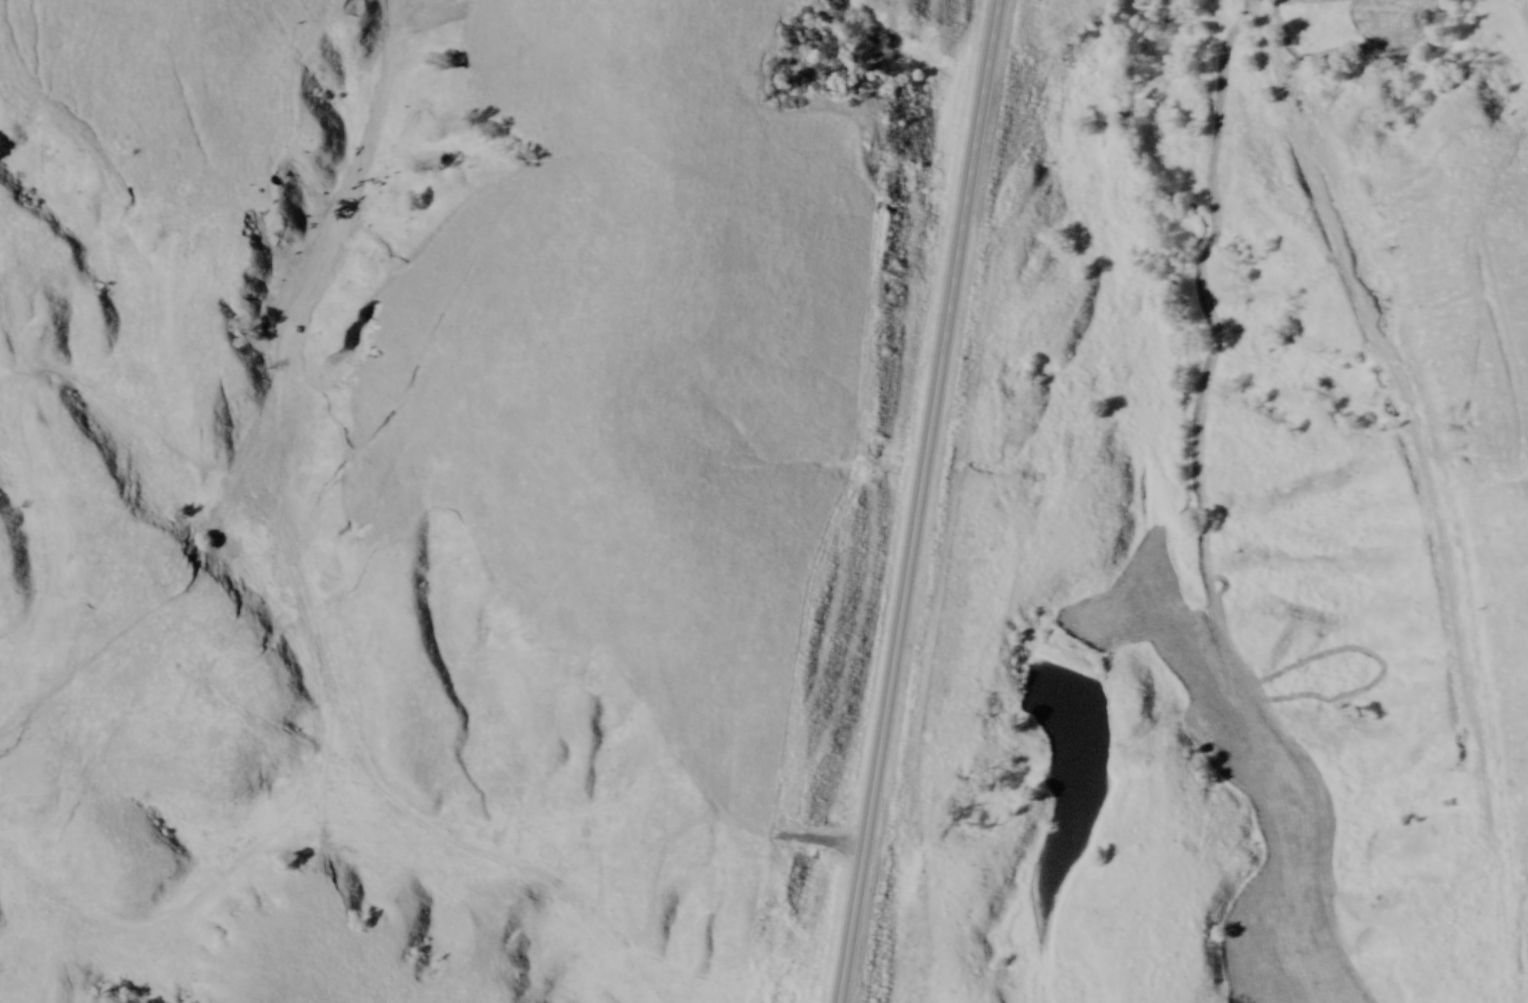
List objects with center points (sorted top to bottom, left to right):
road: (921, 501)

